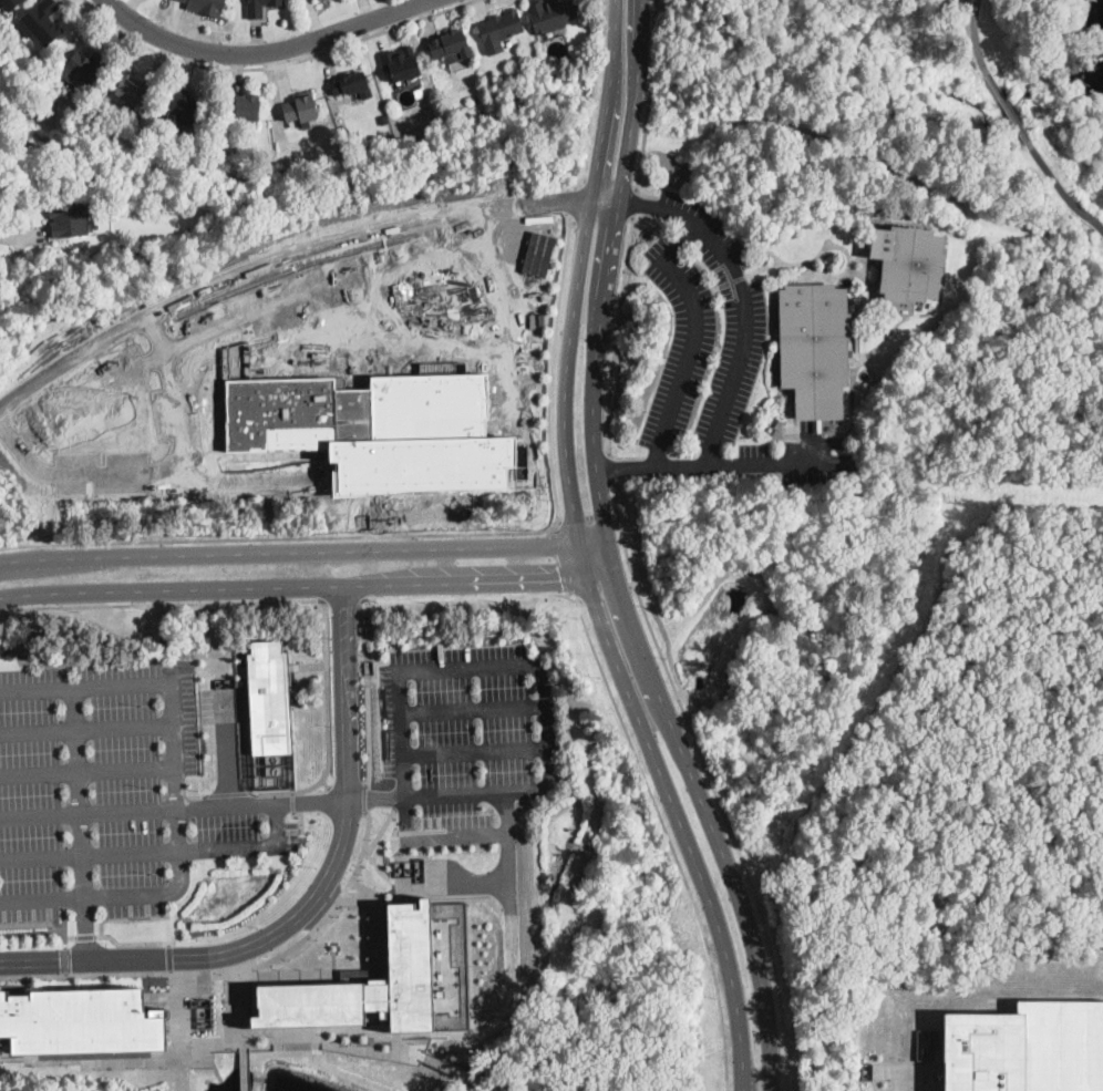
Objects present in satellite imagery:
building: (9, 4)
building: (206, 7)
building: (260, 7)
building: (551, 14)
building: (41, 22)
building: (501, 30)
road: (975, 35)
building: (451, 44)
road: (267, 51)
building: (401, 64)
building: (84, 66)
road: (279, 66)
building: (350, 83)
building: (133, 90)
road: (651, 95)
road: (594, 99)
road: (1008, 105)
building: (245, 106)
building: (183, 107)
building: (300, 109)
building: (384, 122)
park: (918, 161)
road: (1052, 174)
road: (610, 186)
road: (573, 202)
road: (636, 203)
road: (638, 206)
road: (1090, 217)
road: (602, 219)
building: (69, 222)
road: (13, 238)
road: (291, 254)
building: (908, 263)
road: (580, 271)
road: (605, 287)
road: (511, 294)
road: (745, 318)
parking lot: (702, 334)
road: (152, 336)
road: (197, 336)
road: (617, 336)
road: (694, 338)
building: (814, 348)
road: (89, 404)
building: (364, 422)
road: (666, 466)
road: (614, 472)
road: (617, 514)
road: (586, 518)
road: (439, 534)
road: (592, 542)
road: (289, 550)
road: (564, 560)
road: (307, 586)
road: (342, 600)
road: (162, 604)
road: (537, 668)
road: (369, 692)
building: (272, 697)
road: (475, 711)
road: (329, 728)
road: (87, 730)
parking lot: (465, 740)
road: (630, 740)
road: (228, 748)
road: (477, 752)
road: (89, 771)
road: (326, 786)
road: (713, 786)
road: (179, 789)
road: (350, 789)
road: (229, 793)
parking lot: (111, 794)
road: (197, 794)
road: (368, 800)
road: (292, 801)
road: (293, 803)
road: (90, 813)
road: (674, 813)
road: (301, 819)
road: (81, 823)
road: (711, 827)
road: (378, 837)
road: (460, 838)
road: (159, 853)
road: (511, 874)
road: (309, 903)
road: (230, 974)
building: (388, 979)
building: (81, 1020)
road: (331, 1038)
building: (1025, 1048)
road: (241, 1064)
road: (461, 1072)
road: (916, 1079)

